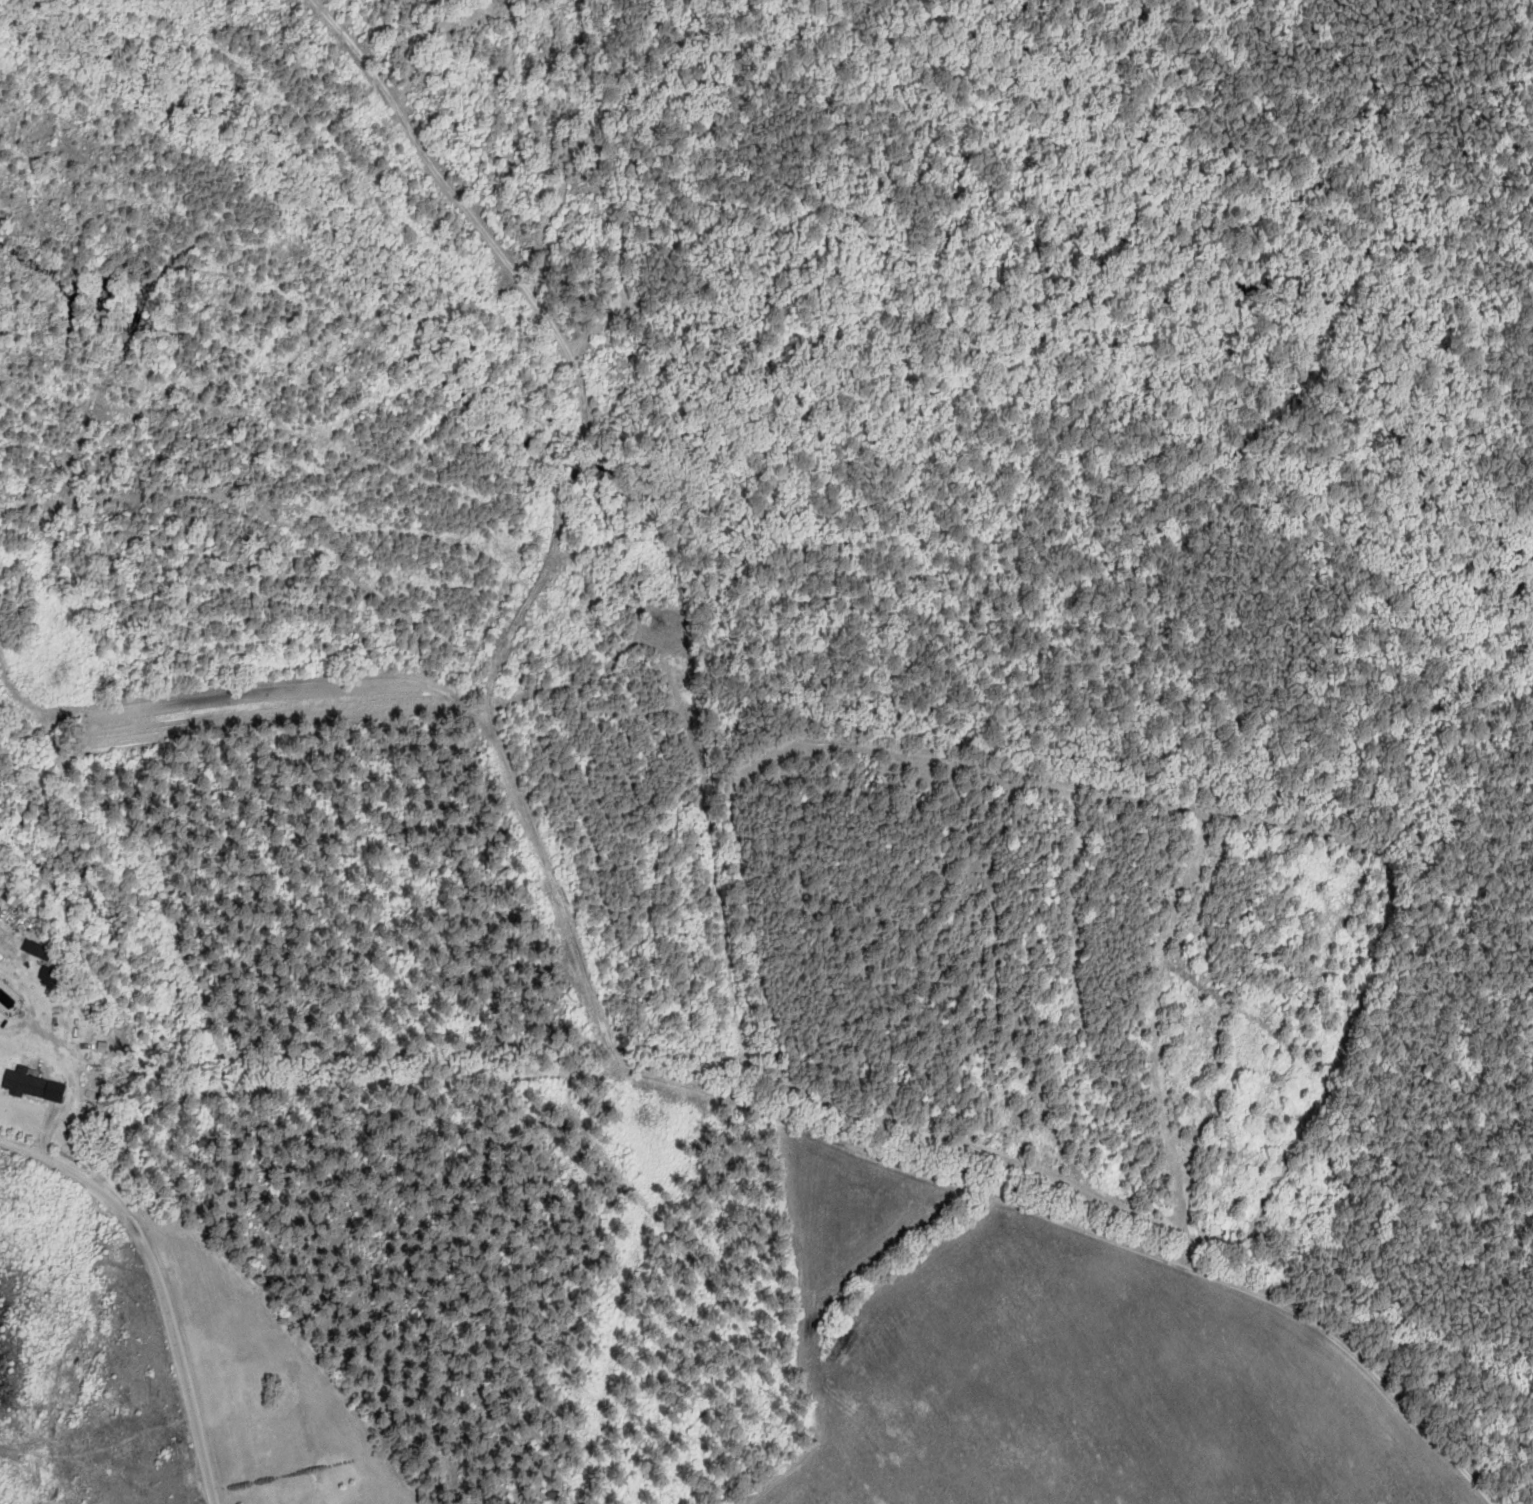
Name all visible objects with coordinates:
road: (1524, 218)
park: (1129, 604)
building: (26, 1086)
road: (927, 1173)
building: (112, 1179)
road: (157, 1286)

